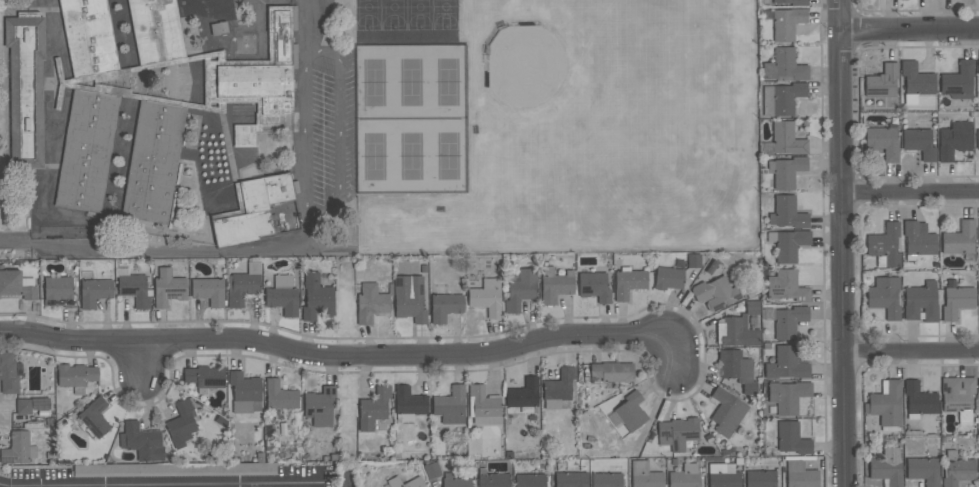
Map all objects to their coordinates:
building: (791, 2)
road: (6, 9)
road: (33, 10)
park: (407, 15)
building: (784, 22)
road: (317, 28)
road: (909, 30)
building: (156, 31)
building: (88, 37)
road: (185, 60)
building: (784, 65)
building: (978, 68)
building: (265, 78)
building: (882, 82)
building: (958, 82)
building: (916, 83)
road: (29, 84)
building: (26, 89)
building: (781, 99)
park: (411, 119)
road: (338, 128)
parking lot: (323, 130)
building: (244, 136)
road: (309, 138)
building: (786, 139)
building: (977, 139)
road: (8, 140)
building: (953, 140)
building: (882, 143)
building: (919, 143)
building: (87, 152)
road: (231, 159)
building: (153, 163)
building: (786, 171)
road: (910, 193)
road: (174, 196)
building: (254, 210)
building: (787, 213)
road: (188, 216)
building: (978, 224)
building: (959, 239)
building: (918, 240)
road: (841, 243)
building: (787, 245)
building: (884, 246)
road: (162, 252)
building: (693, 261)
building: (668, 278)
building: (629, 283)
building: (16, 285)
building: (242, 285)
building: (555, 285)
building: (594, 286)
building: (786, 287)
building: (133, 288)
building: (168, 288)
building: (520, 288)
building: (59, 291)
building: (208, 291)
building: (94, 292)
building: (715, 294)
building: (282, 296)
building: (316, 297)
building: (487, 297)
building: (884, 297)
building: (409, 298)
building: (920, 302)
building: (956, 302)
building: (370, 303)
building: (445, 307)
building: (752, 308)
building: (785, 321)
building: (736, 332)
road: (352, 355)
road: (911, 356)
building: (786, 364)
building: (737, 370)
building: (611, 372)
building: (9, 373)
building: (75, 376)
building: (204, 376)
building: (978, 387)
building: (559, 390)
building: (245, 393)
building: (523, 394)
building: (279, 396)
building: (787, 396)
building: (958, 397)
building: (919, 400)
building: (408, 404)
building: (319, 406)
building: (450, 406)
building: (483, 406)
building: (886, 406)
building: (23, 407)
building: (373, 408)
building: (630, 412)
building: (728, 413)
building: (94, 418)
building: (181, 424)
building: (677, 433)
building: (791, 439)
building: (142, 442)
building: (17, 449)
building: (887, 467)
building: (174, 470)
building: (431, 470)
building: (957, 470)
building: (923, 471)
building: (800, 475)
building: (644, 476)
building: (723, 476)
building: (684, 477)
building: (417, 479)
building: (571, 479)
building: (760, 479)
building: (493, 480)
building: (530, 480)
building: (607, 480)
building: (454, 481)
road: (159, 485)

